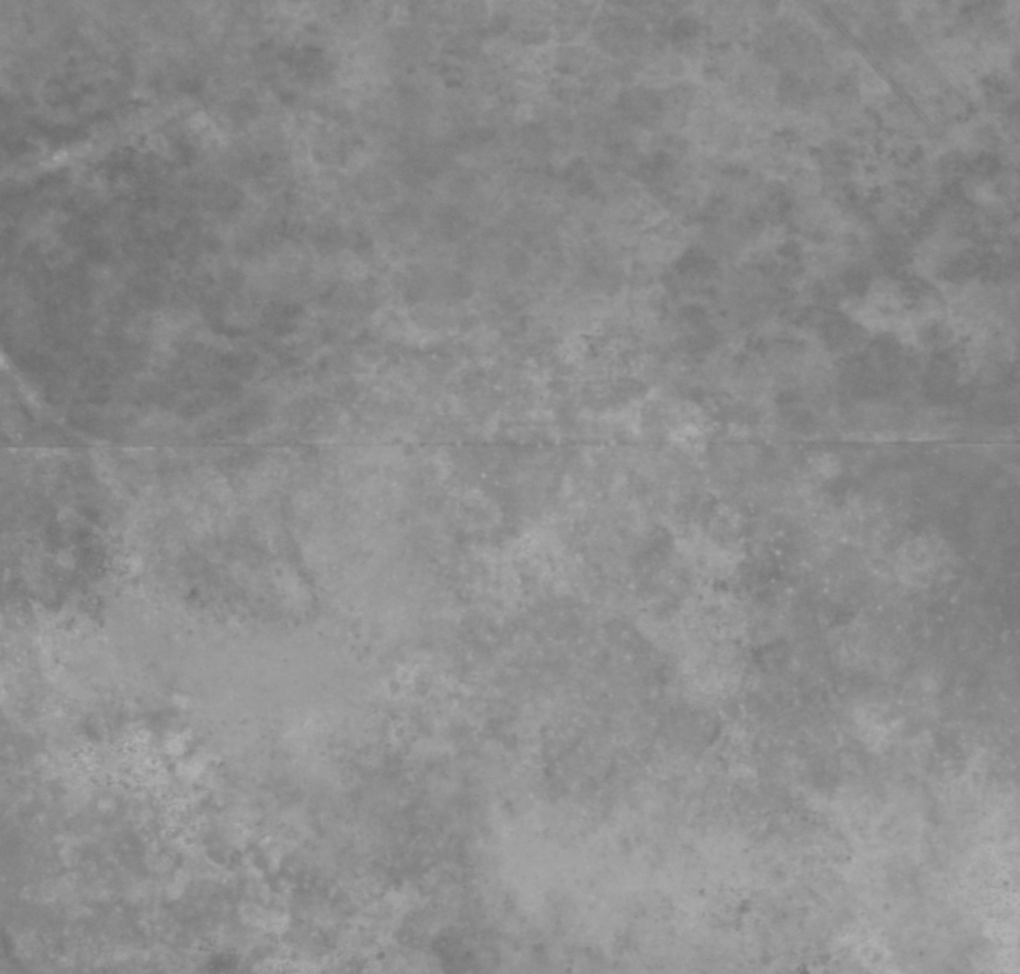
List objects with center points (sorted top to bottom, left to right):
road: (981, 640)

